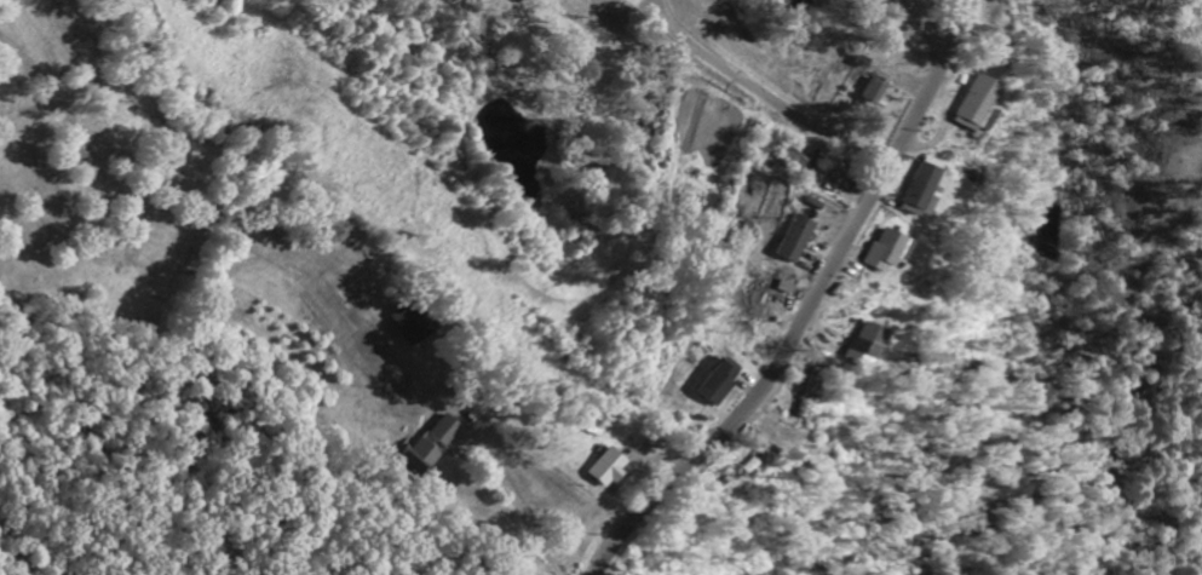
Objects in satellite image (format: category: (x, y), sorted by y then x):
building: (976, 103)
building: (794, 238)
building: (885, 251)
road: (805, 306)
building: (415, 323)
building: (864, 339)
building: (721, 381)
road: (305, 398)
building: (452, 431)
building: (430, 452)
building: (614, 470)

